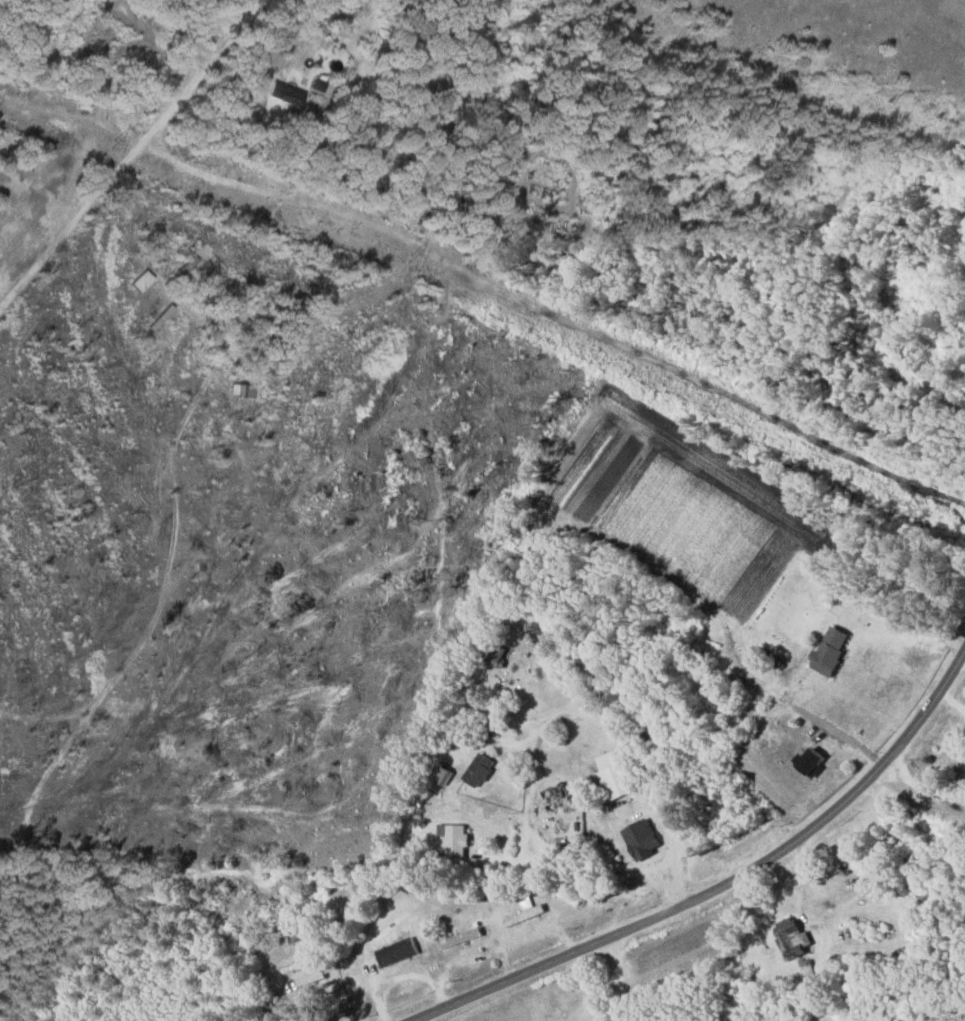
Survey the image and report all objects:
building: (284, 95)
power tower: (112, 144)
road: (959, 173)
road: (71, 224)
power tower: (412, 256)
building: (141, 282)
road: (553, 323)
power tower: (720, 402)
building: (830, 651)
building: (756, 659)
road: (625, 752)
building: (810, 763)
building: (478, 772)
building: (615, 776)
building: (441, 777)
building: (453, 839)
building: (640, 840)
road: (722, 882)
building: (524, 916)
building: (792, 937)
building: (395, 953)
building: (806, 971)
building: (308, 976)
road: (616, 977)

